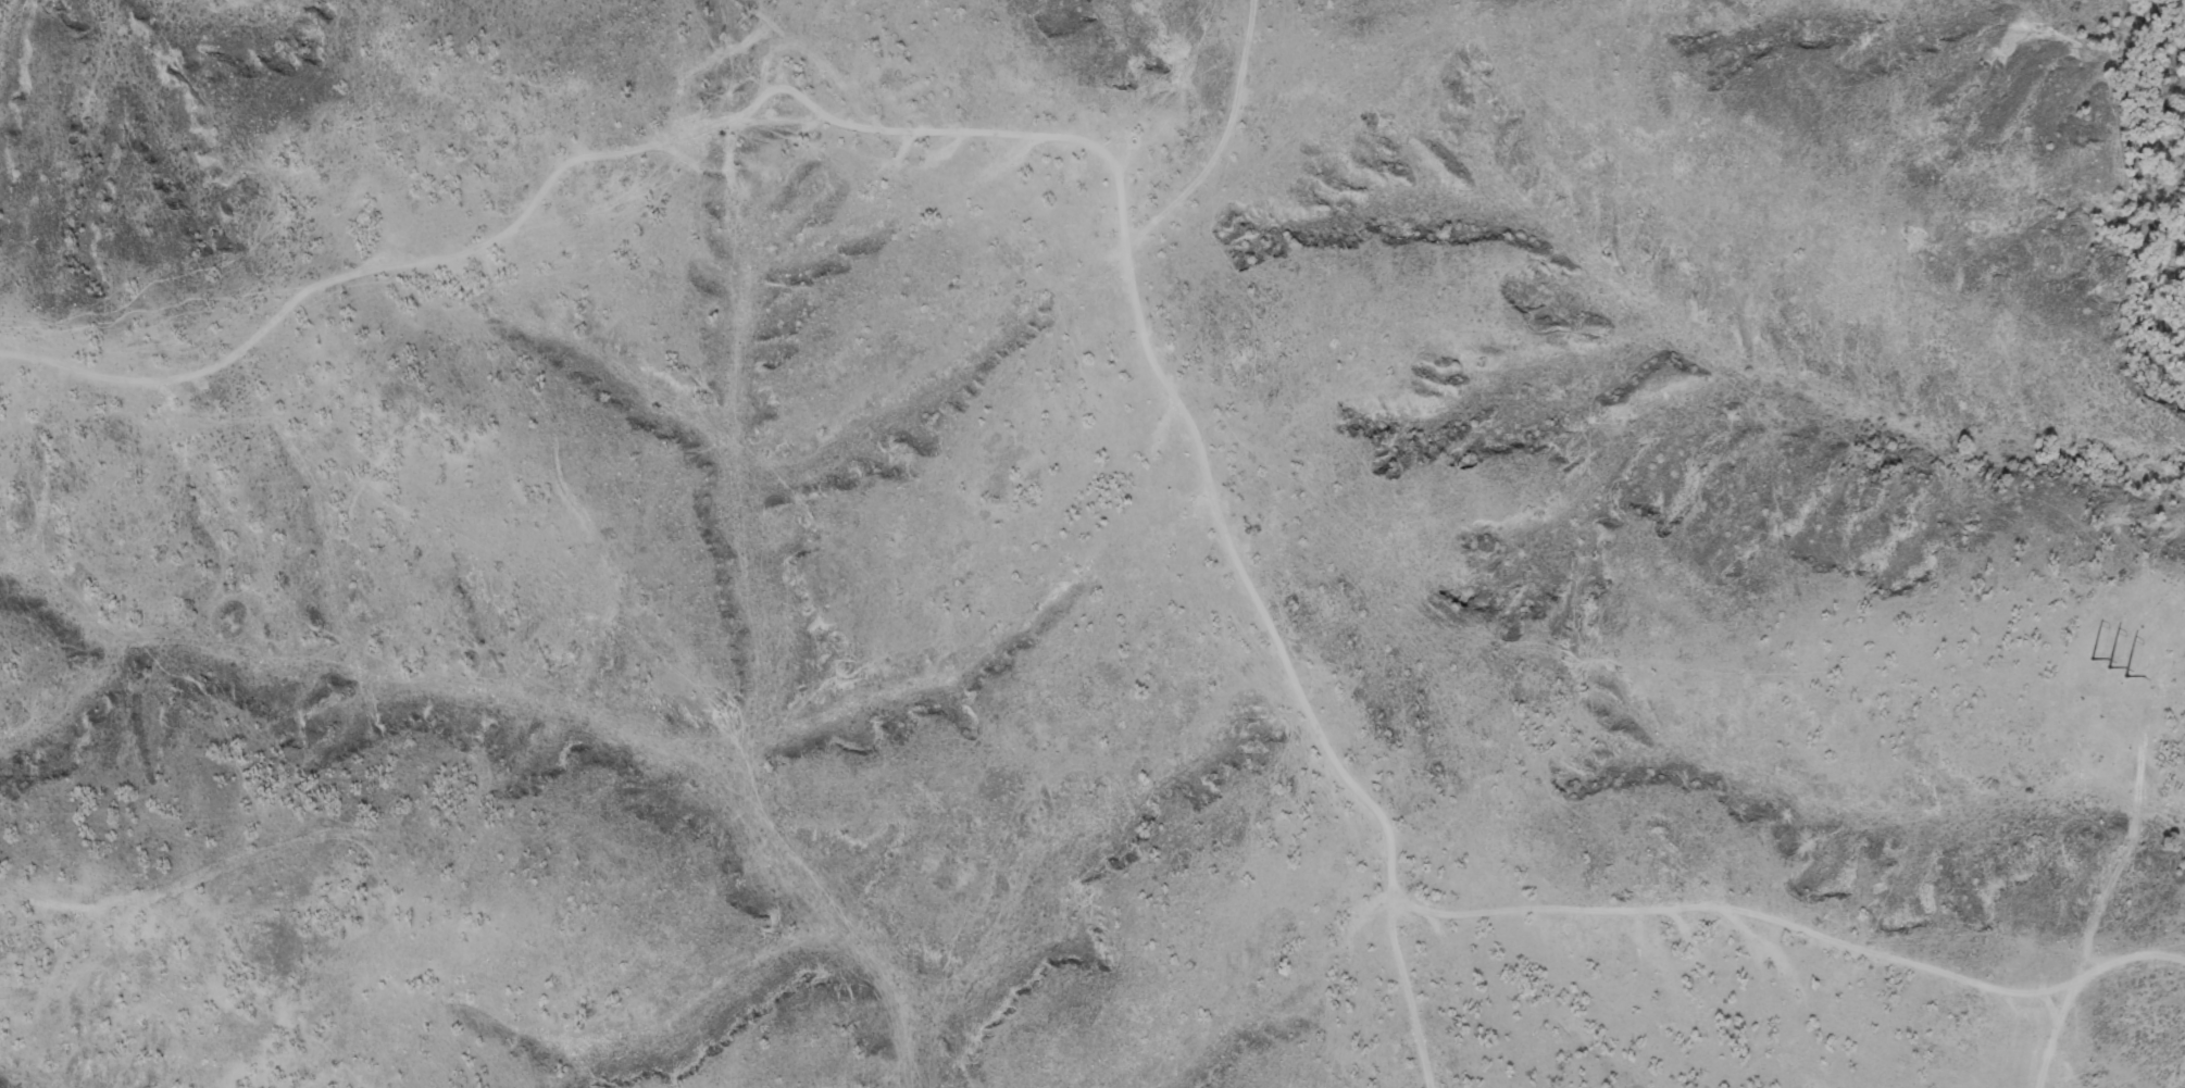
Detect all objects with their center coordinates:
power tower: (2107, 666)

